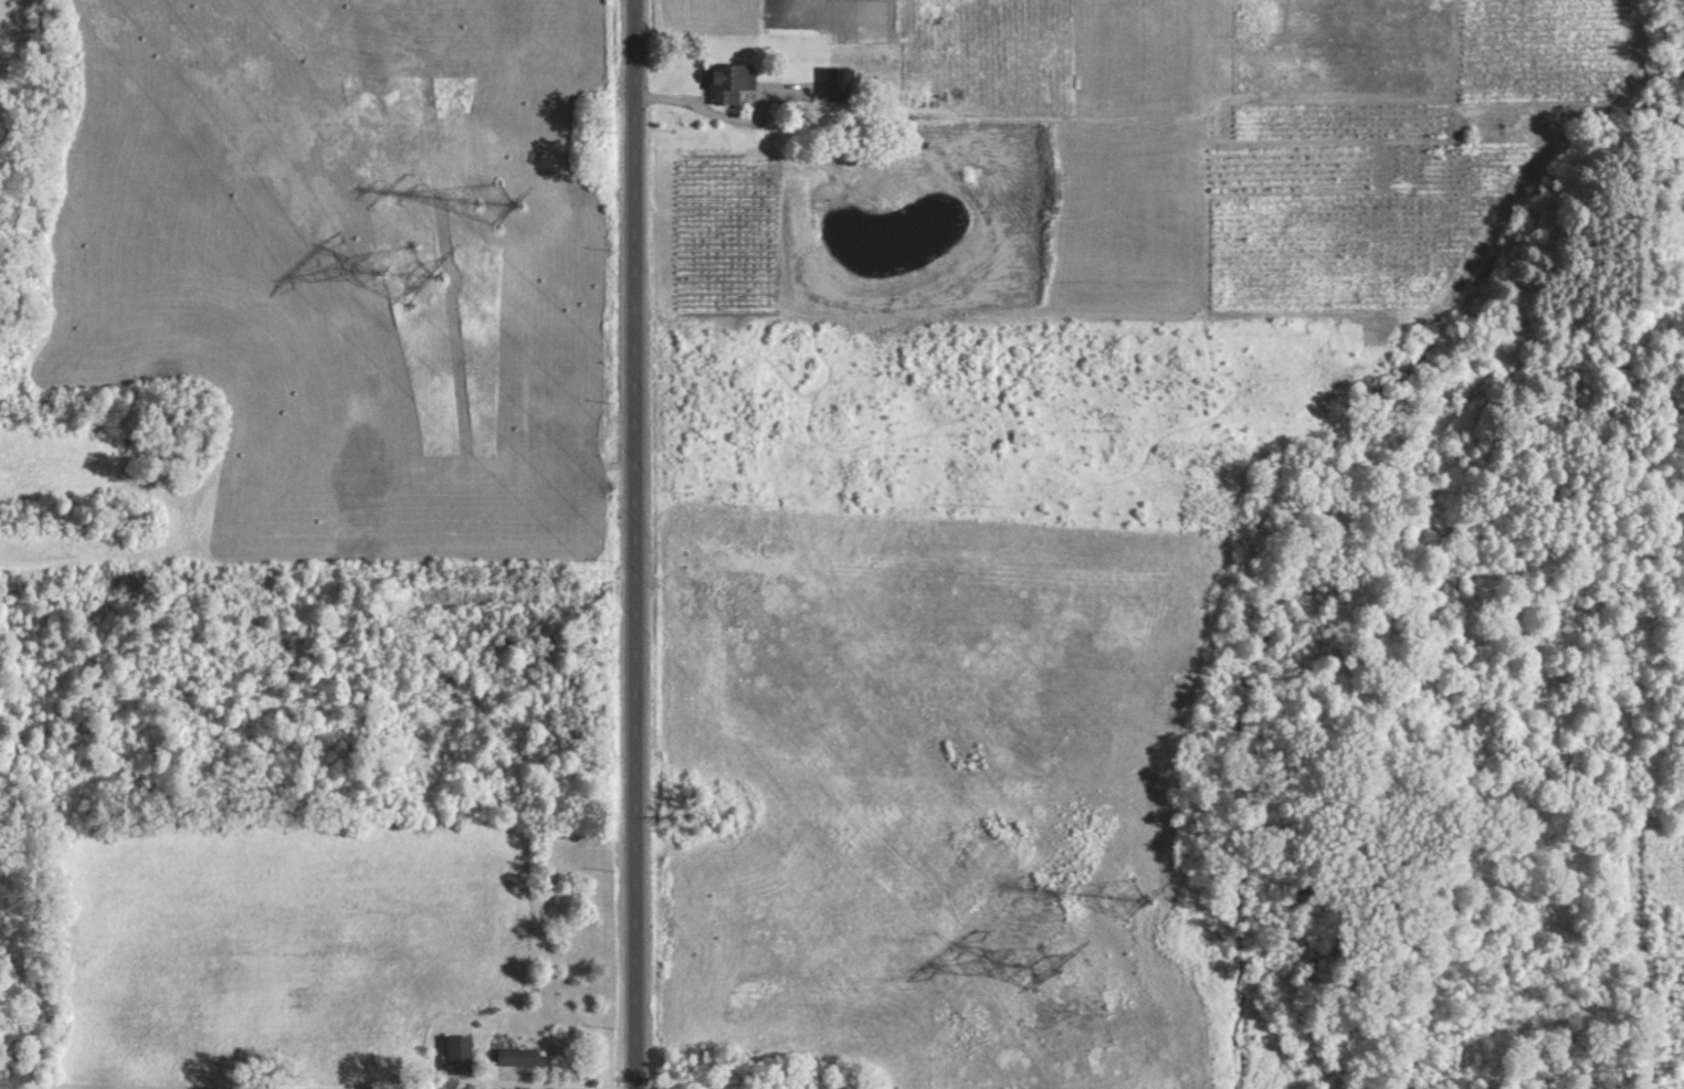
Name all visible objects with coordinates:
building: (732, 76)
building: (842, 84)
road: (695, 101)
power tower: (501, 200)
power tower: (411, 271)
road: (639, 544)
power tower: (1130, 897)
power tower: (1039, 966)
building: (460, 1054)
building: (522, 1056)

